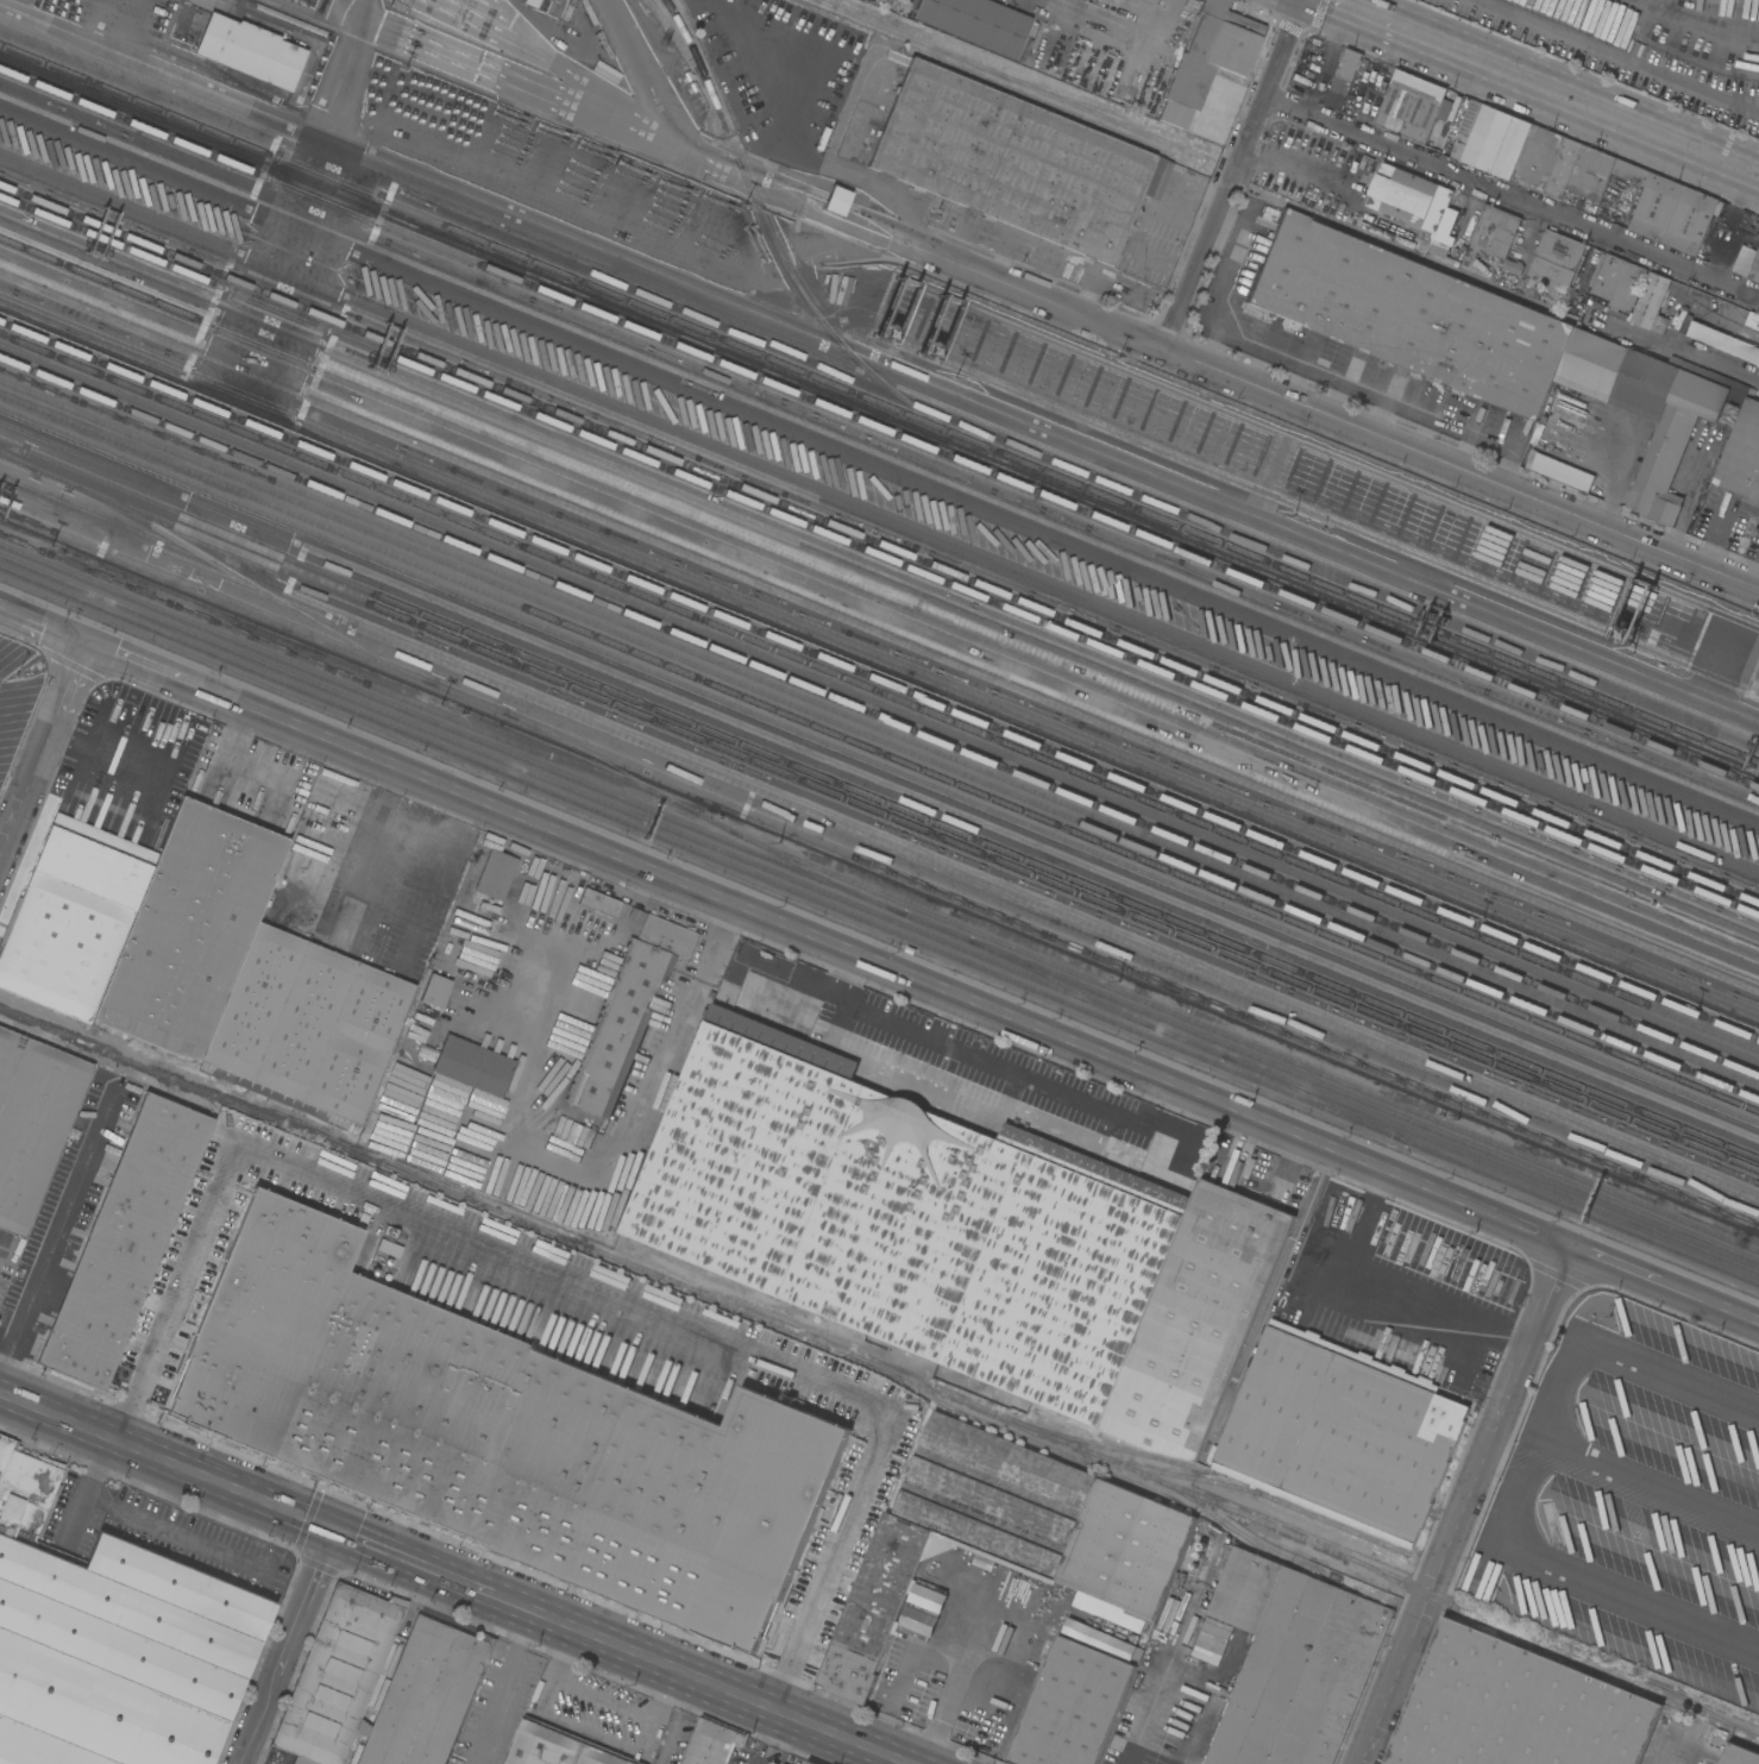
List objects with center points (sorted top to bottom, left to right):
building: (532, 2)
building: (400, 5)
building: (979, 23)
road: (1702, 27)
road: (1120, 39)
building: (251, 50)
road: (1614, 55)
building: (640, 56)
building: (1210, 57)
building: (1343, 79)
railway: (1009, 80)
road: (529, 87)
road: (1539, 90)
building: (1411, 105)
building: (1444, 109)
building: (1465, 124)
building: (1495, 140)
building: (1538, 155)
building: (1014, 159)
road: (1292, 161)
building: (1563, 168)
building: (1631, 171)
building: (1591, 172)
road: (1227, 176)
road: (1509, 196)
building: (1411, 197)
building: (835, 200)
building: (1721, 208)
building: (1672, 213)
railway: (762, 216)
building: (1494, 230)
building: (1554, 260)
road: (948, 265)
building: (1513, 265)
building: (1754, 269)
building: (1608, 275)
building: (1627, 285)
building: (1644, 305)
building: (1409, 313)
building: (1752, 320)
building: (1723, 341)
building: (1711, 376)
railway: (879, 401)
building: (1646, 408)
railway: (880, 423)
building: (1742, 456)
railway: (11, 459)
road: (1458, 470)
building: (1559, 470)
road: (1722, 520)
railway: (879, 544)
railway: (879, 553)
road: (1353, 557)
road: (1755, 578)
railway: (252, 584)
railway: (879, 595)
railway: (252, 610)
traffic signals: (84, 647)
railway: (879, 654)
railway: (339, 670)
railway: (879, 679)
railway: (345, 685)
railway: (879, 689)
railway: (879, 702)
railway: (879, 715)
railway: (879, 728)
railway: (879, 739)
railway: (879, 751)
road: (42, 752)
road: (101, 758)
railway: (612, 766)
railway: (879, 766)
building: (4, 767)
railway: (879, 773)
railway: (567, 786)
railway: (879, 802)
railway: (880, 814)
road: (391, 816)
road: (364, 848)
railway: (693, 849)
railway: (796, 862)
road: (376, 865)
building: (496, 873)
railway: (835, 884)
road: (356, 900)
building: (599, 902)
building: (484, 914)
building: (142, 923)
railway: (879, 961)
road: (879, 967)
railway: (1132, 968)
railway: (1057, 980)
road: (813, 987)
building: (434, 990)
building: (627, 1012)
building: (307, 1025)
road: (905, 1027)
railway: (36, 1031)
railway: (1238, 1038)
railway: (1188, 1040)
road: (666, 1052)
building: (473, 1063)
railway: (235, 1090)
railway: (1314, 1097)
road: (1083, 1099)
road: (950, 1100)
railway: (1368, 1103)
road: (1176, 1106)
building: (32, 1119)
railway: (1500, 1167)
building: (347, 1174)
building: (370, 1187)
railway: (1572, 1207)
building: (1328, 1209)
building: (1393, 1214)
building: (906, 1216)
building: (124, 1239)
road: (57, 1244)
road: (563, 1281)
building: (358, 1297)
building: (1196, 1320)
building: (252, 1352)
building: (912, 1360)
railway: (879, 1364)
building: (1337, 1415)
railway: (1013, 1432)
road: (1513, 1435)
railway: (1106, 1445)
road: (168, 1459)
road: (1518, 1480)
road: (1646, 1484)
railway: (1257, 1493)
road: (1464, 1505)
road: (149, 1519)
traffic signals: (337, 1530)
building: (1003, 1538)
railway: (1269, 1550)
road: (434, 1569)
road: (304, 1609)
railway: (1501, 1632)
building: (111, 1640)
road: (559, 1650)
building: (1293, 1662)
building: (434, 1677)
road: (954, 1678)
road: (501, 1685)
road: (721, 1687)
road: (665, 1695)
road: (602, 1699)
building: (1072, 1706)
building: (1514, 1708)
railway: (1704, 1708)
road: (1145, 1715)
road: (679, 1720)
road: (257, 1726)
road: (586, 1733)
road: (762, 1735)
building: (712, 1743)
building: (559, 1747)
road: (1685, 1750)
building: (1738, 1754)
building: (810, 1762)

